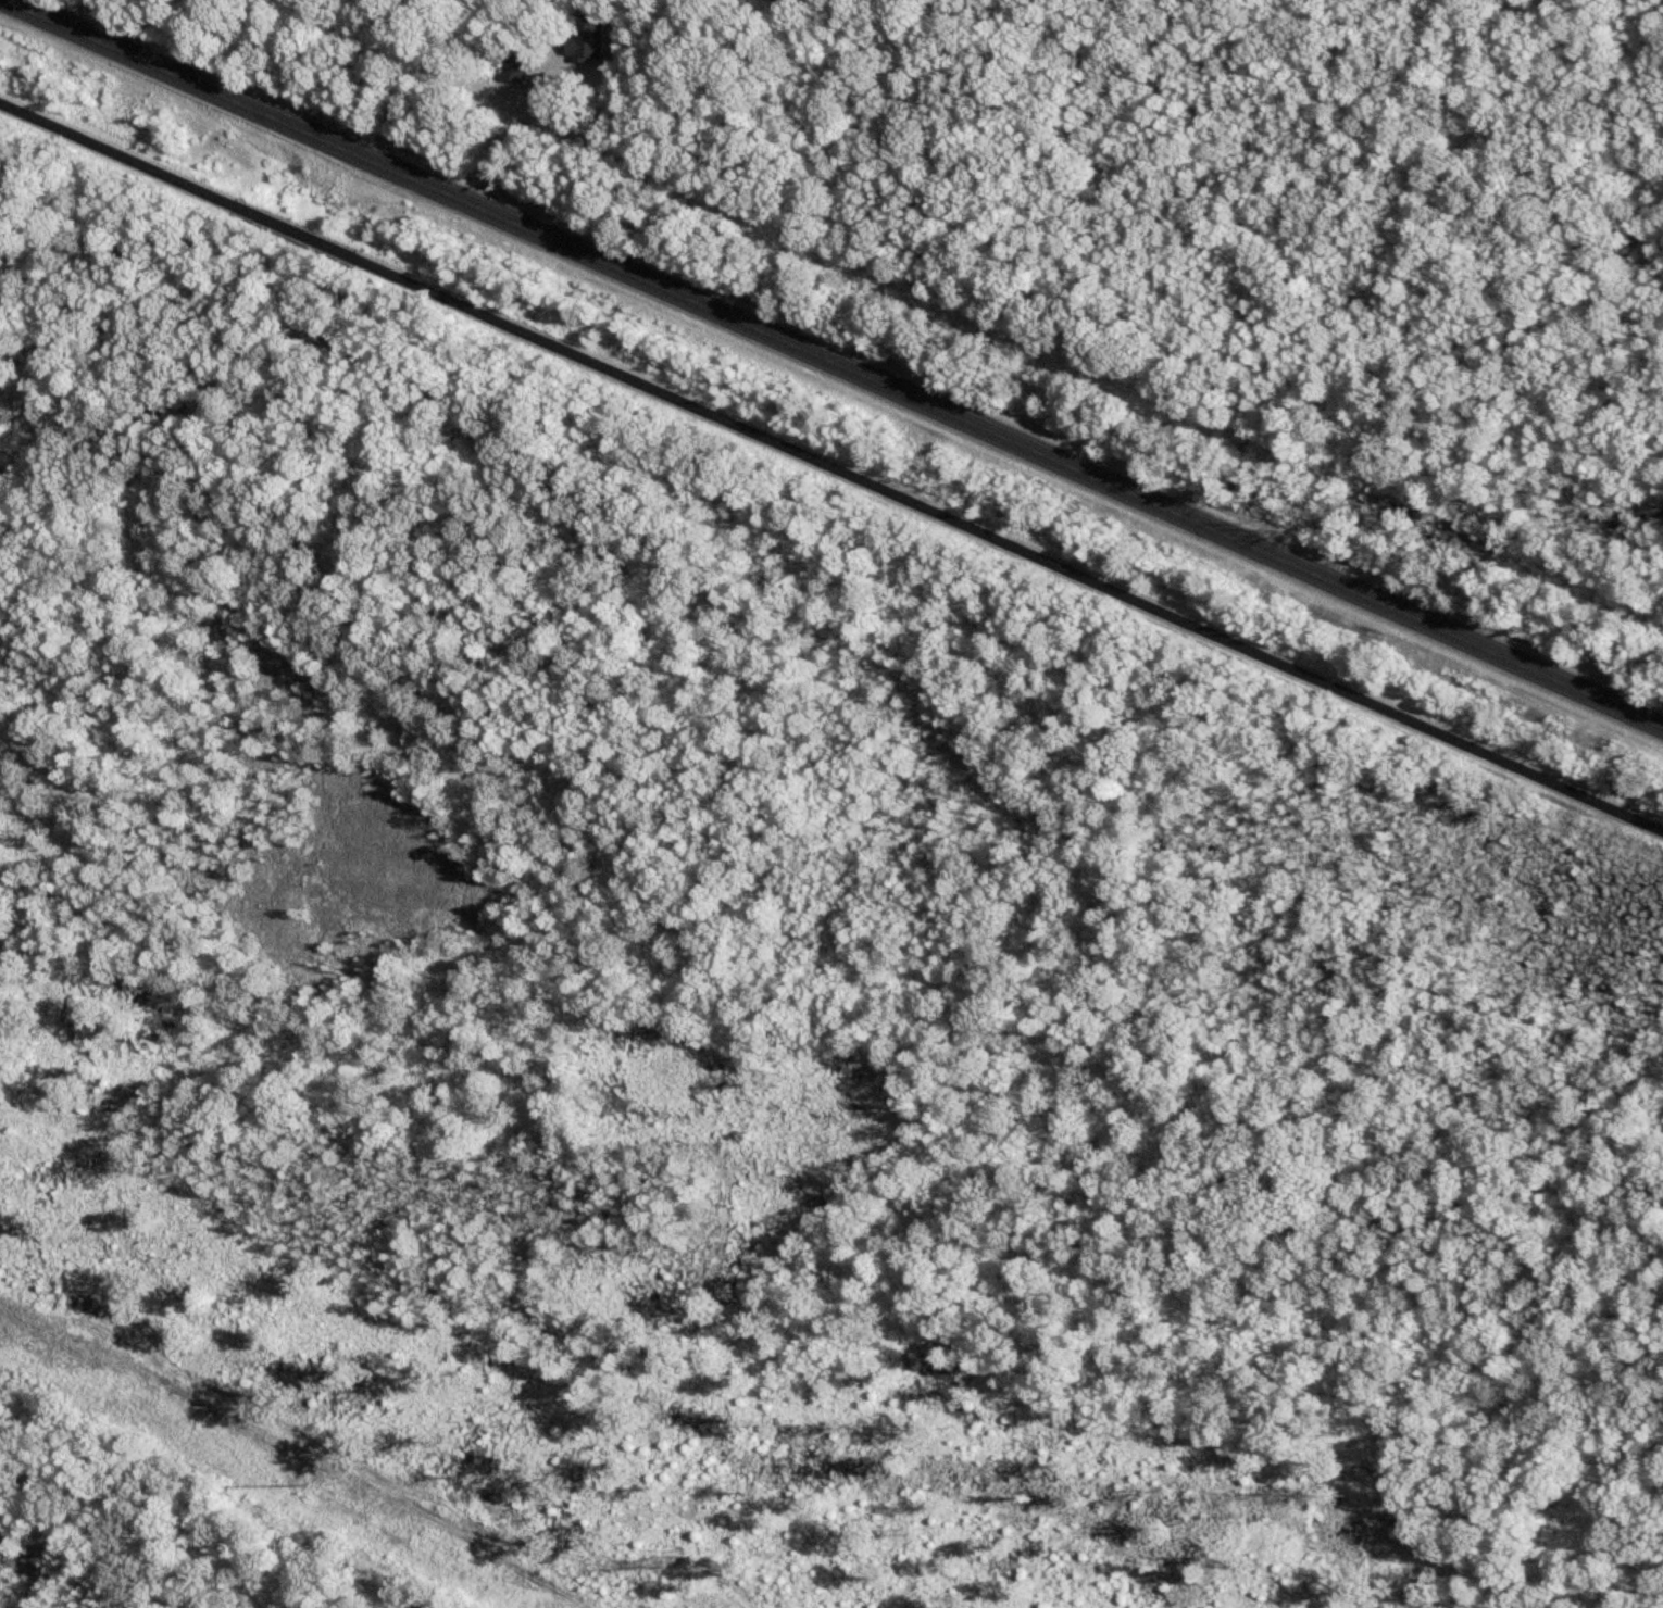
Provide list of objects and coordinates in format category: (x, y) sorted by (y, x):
building: (586, 37)
building: (514, 68)
road: (385, 78)
road: (511, 128)
road: (836, 363)
road: (830, 468)
power tower: (292, 1477)

